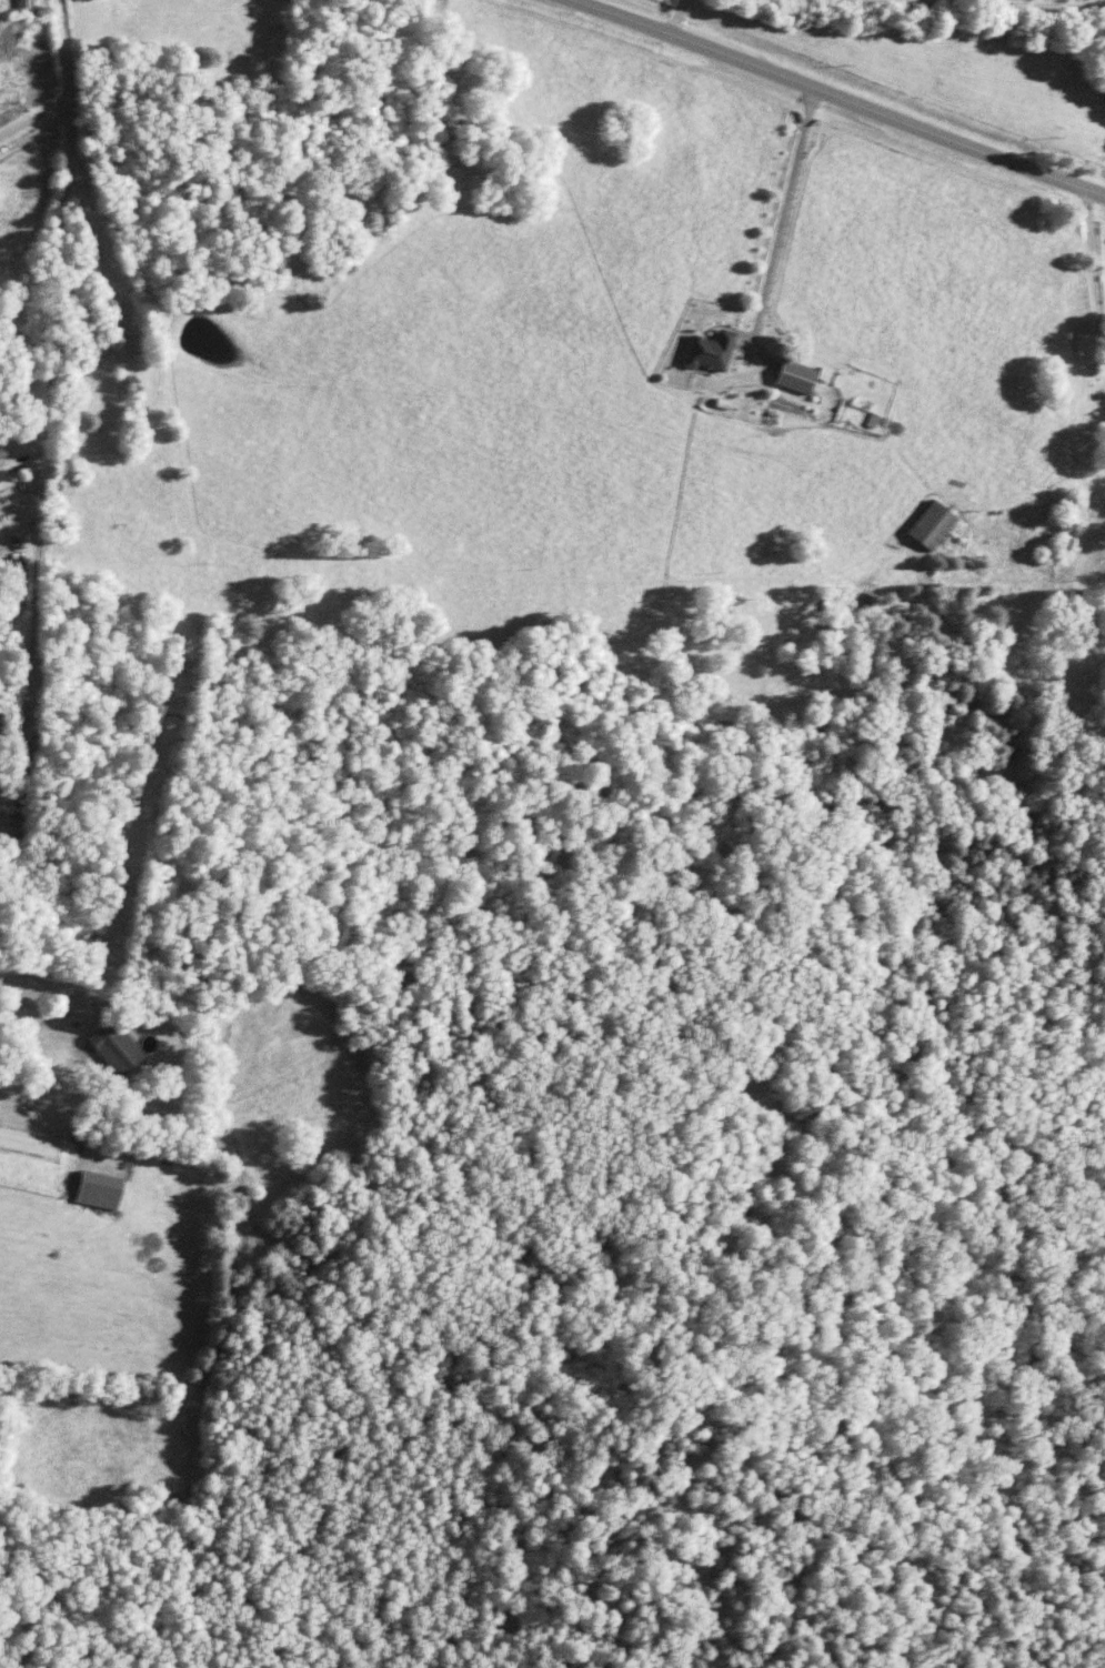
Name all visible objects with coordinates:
building: (22, 4)
road: (762, 32)
road: (841, 96)
road: (32, 117)
road: (775, 214)
road: (1087, 277)
building: (700, 349)
road: (54, 355)
building: (785, 374)
building: (2, 453)
building: (923, 524)
building: (104, 1048)
building: (89, 1189)

